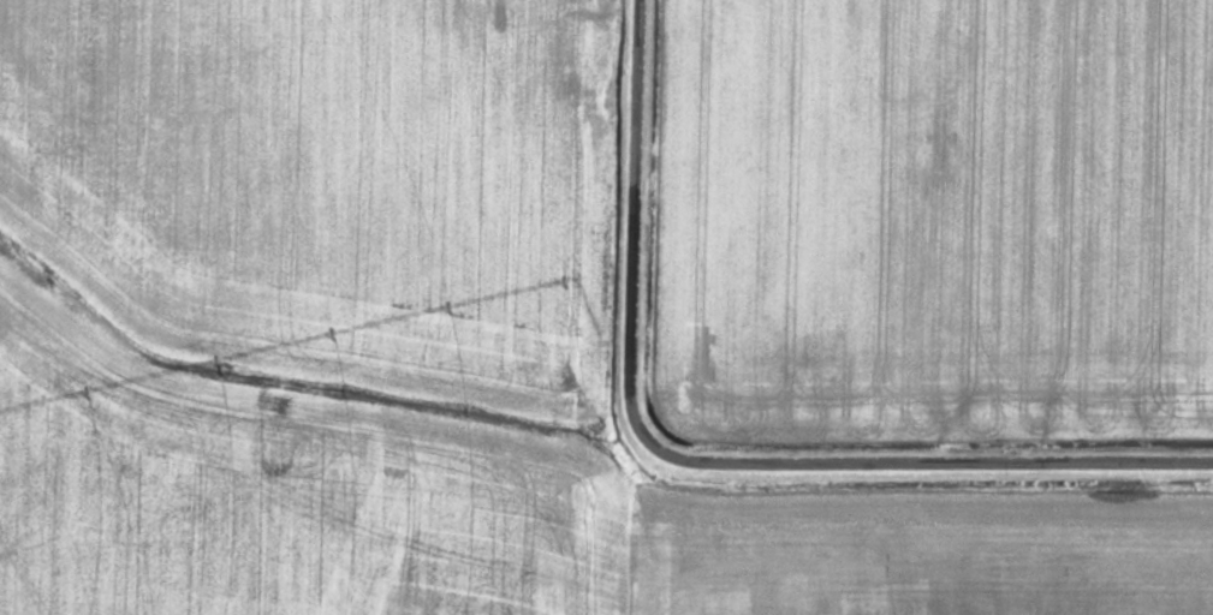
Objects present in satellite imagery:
road: (744, 431)

